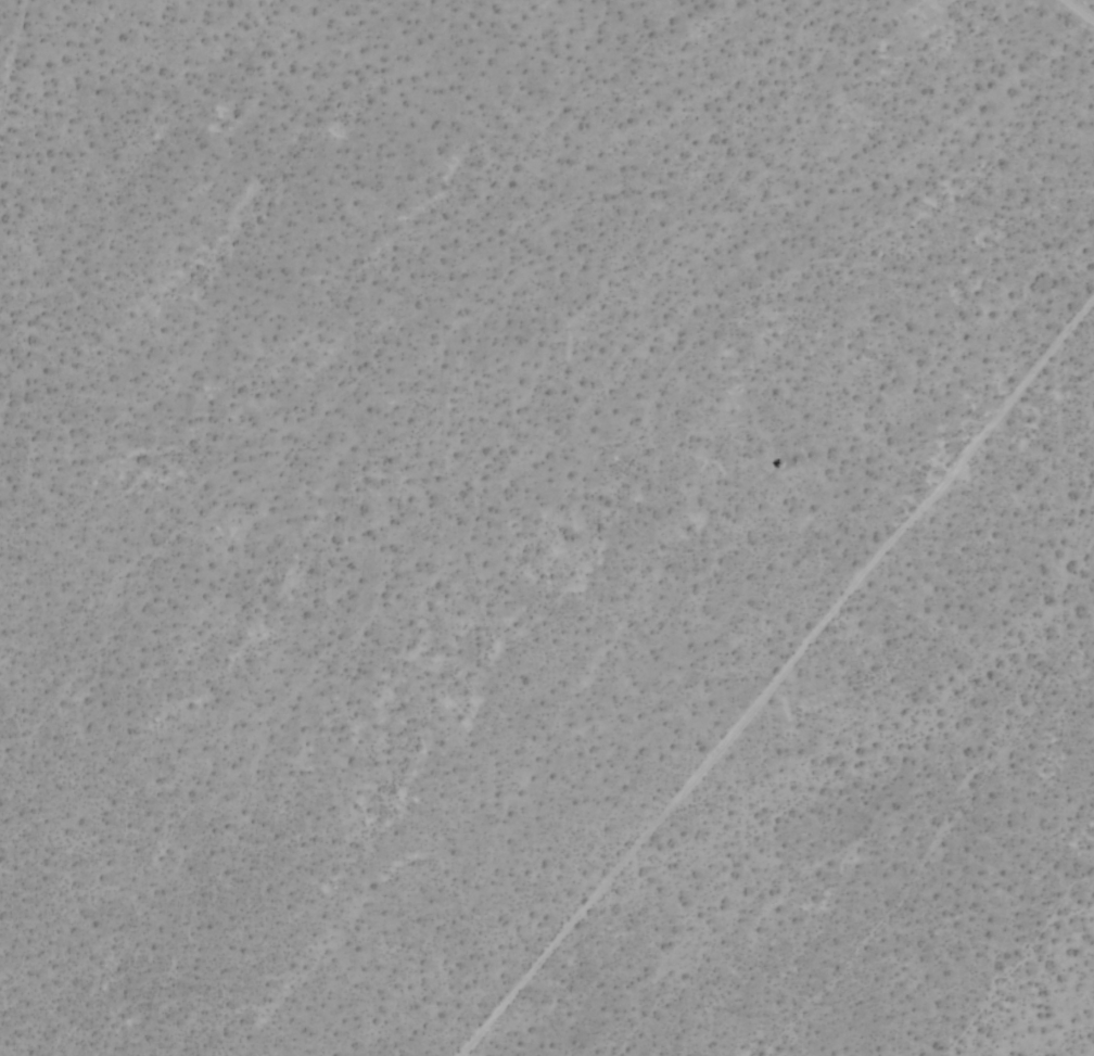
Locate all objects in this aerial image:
road: (1074, 13)

